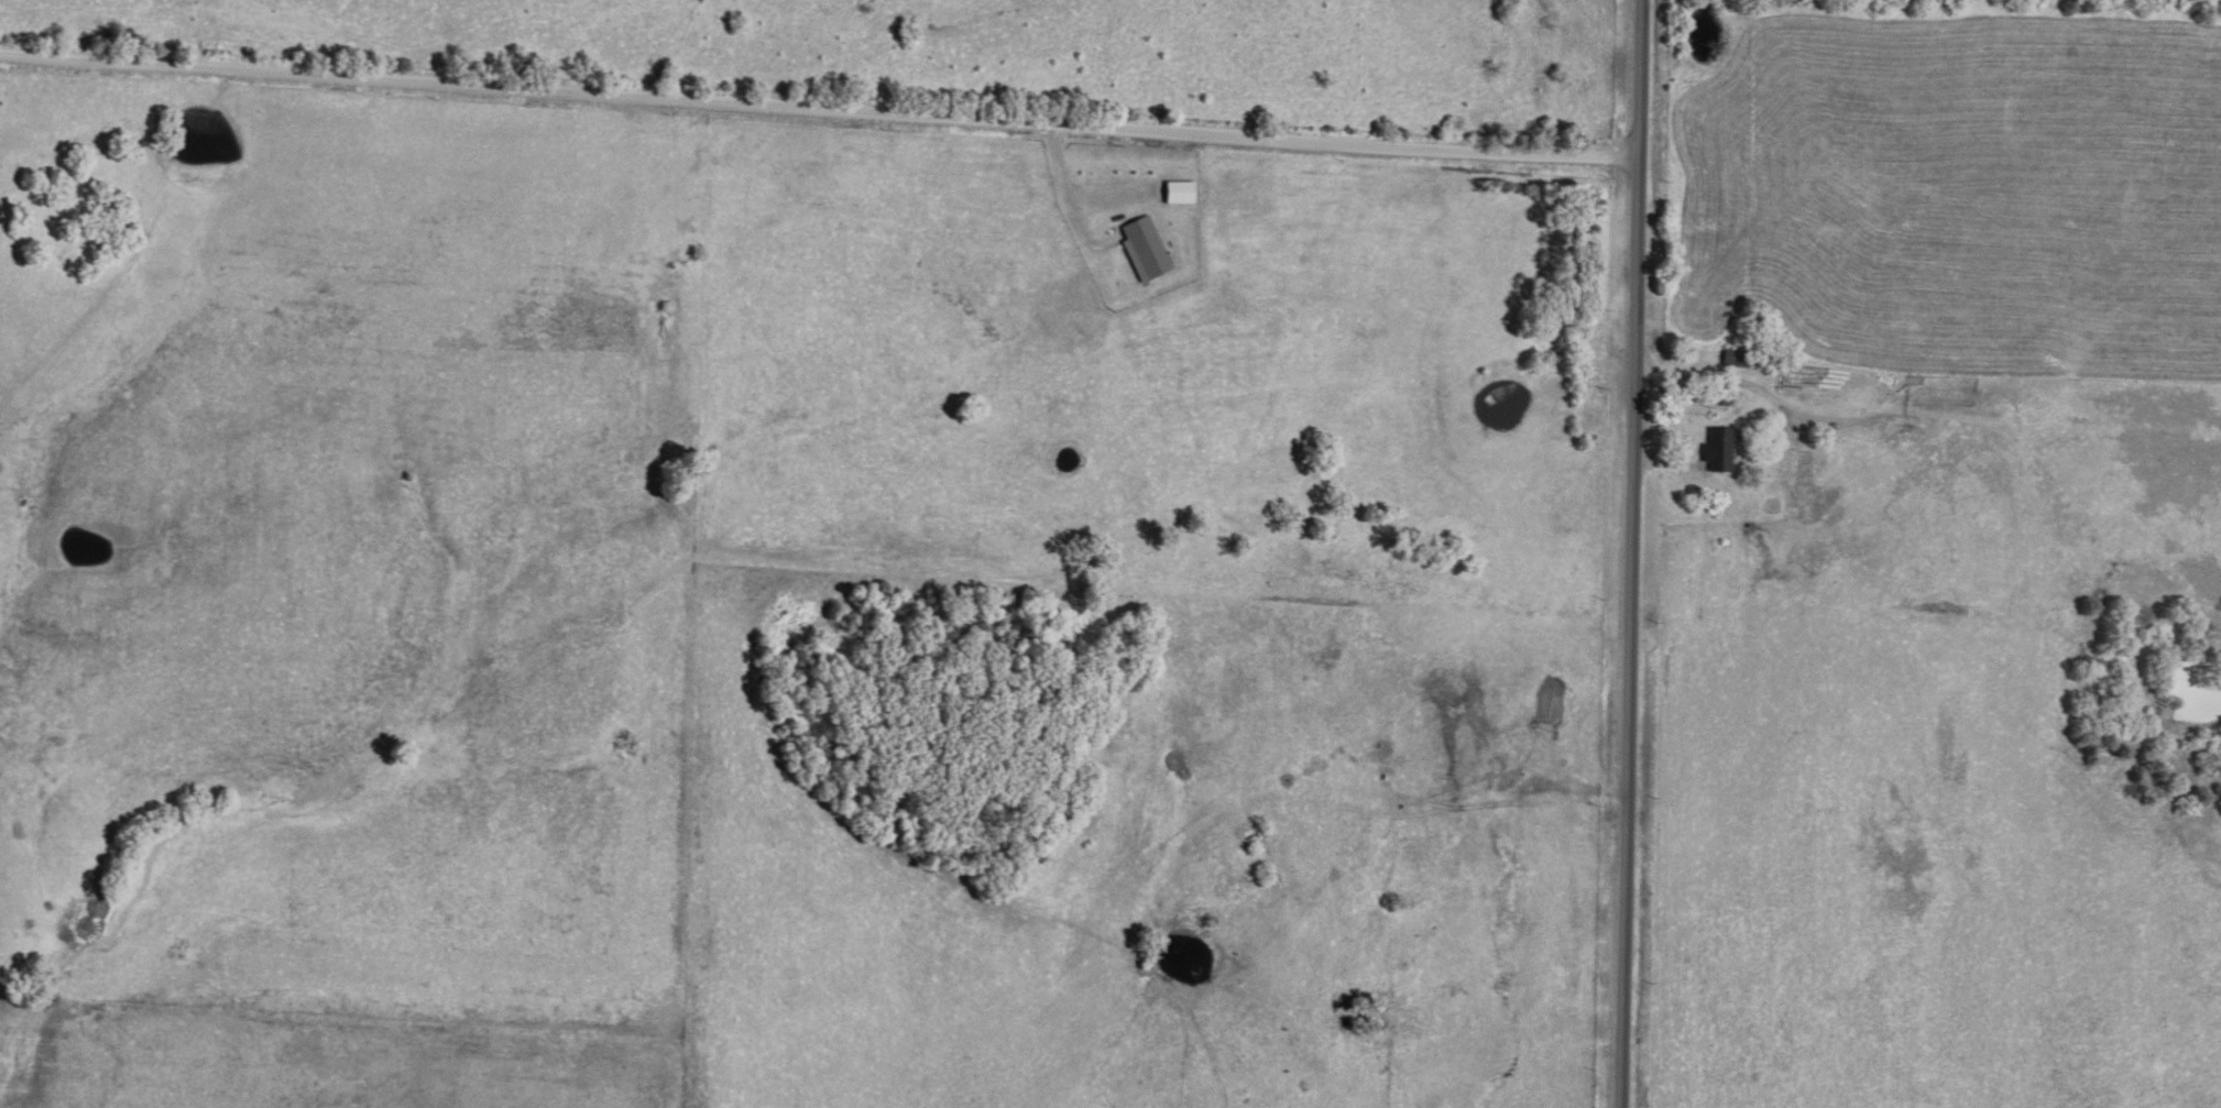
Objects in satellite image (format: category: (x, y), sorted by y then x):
road: (818, 98)
building: (1175, 190)
building: (1141, 248)
building: (1715, 449)
road: (1628, 553)

